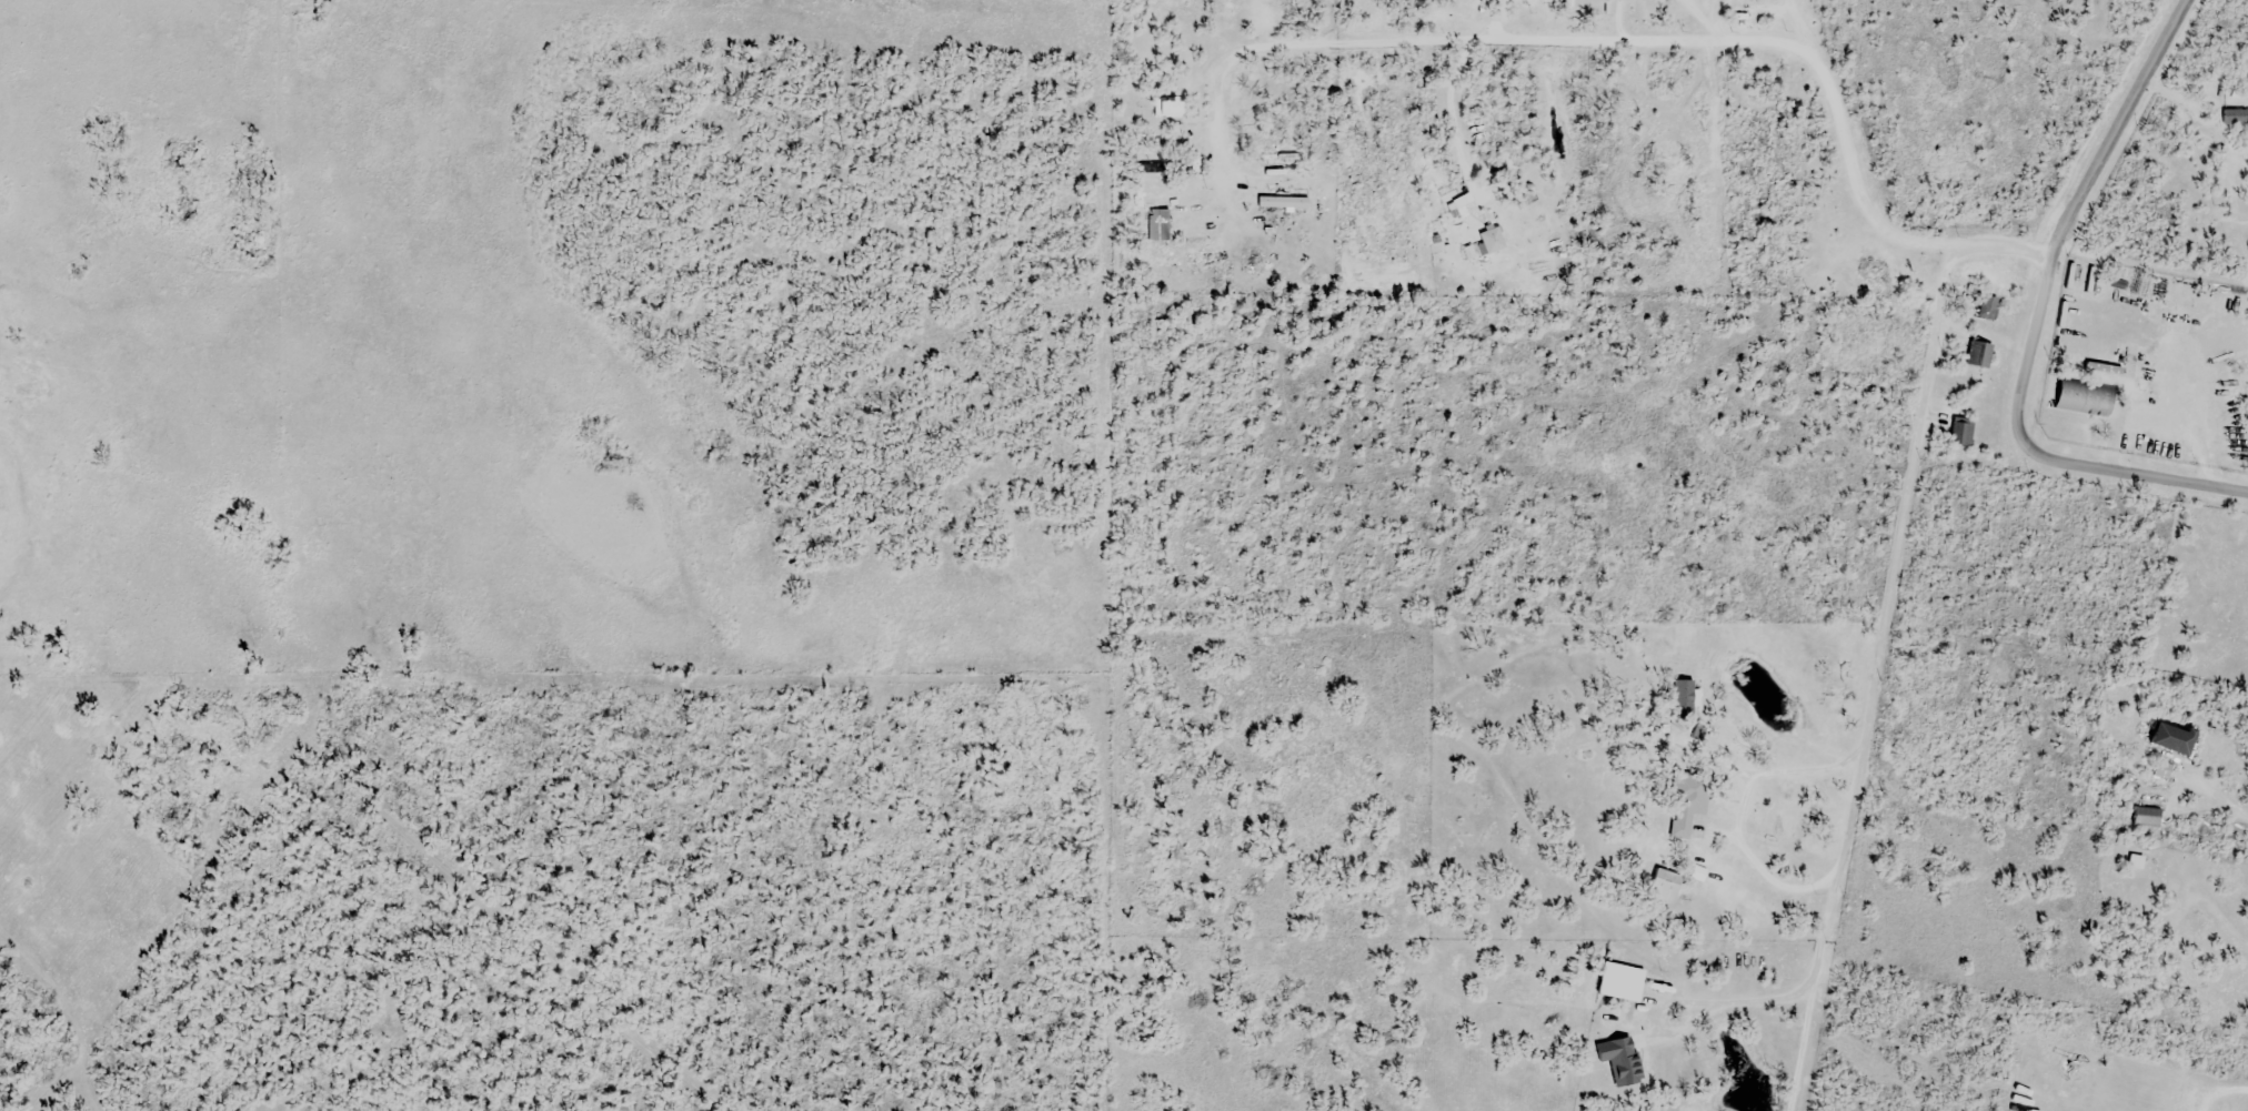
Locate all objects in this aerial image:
road: (1653, 38)
building: (1171, 107)
building: (1274, 156)
road: (2081, 196)
road: (1876, 222)
building: (1160, 224)
building: (1493, 235)
building: (1990, 307)
building: (1980, 353)
building: (2079, 397)
building: (1964, 432)
road: (2116, 471)
road: (1884, 624)
building: (1685, 697)
building: (2177, 738)
building: (1688, 801)
road: (1740, 807)
building: (2142, 816)
building: (1667, 886)
road: (1687, 1001)
building: (2190, 1080)

